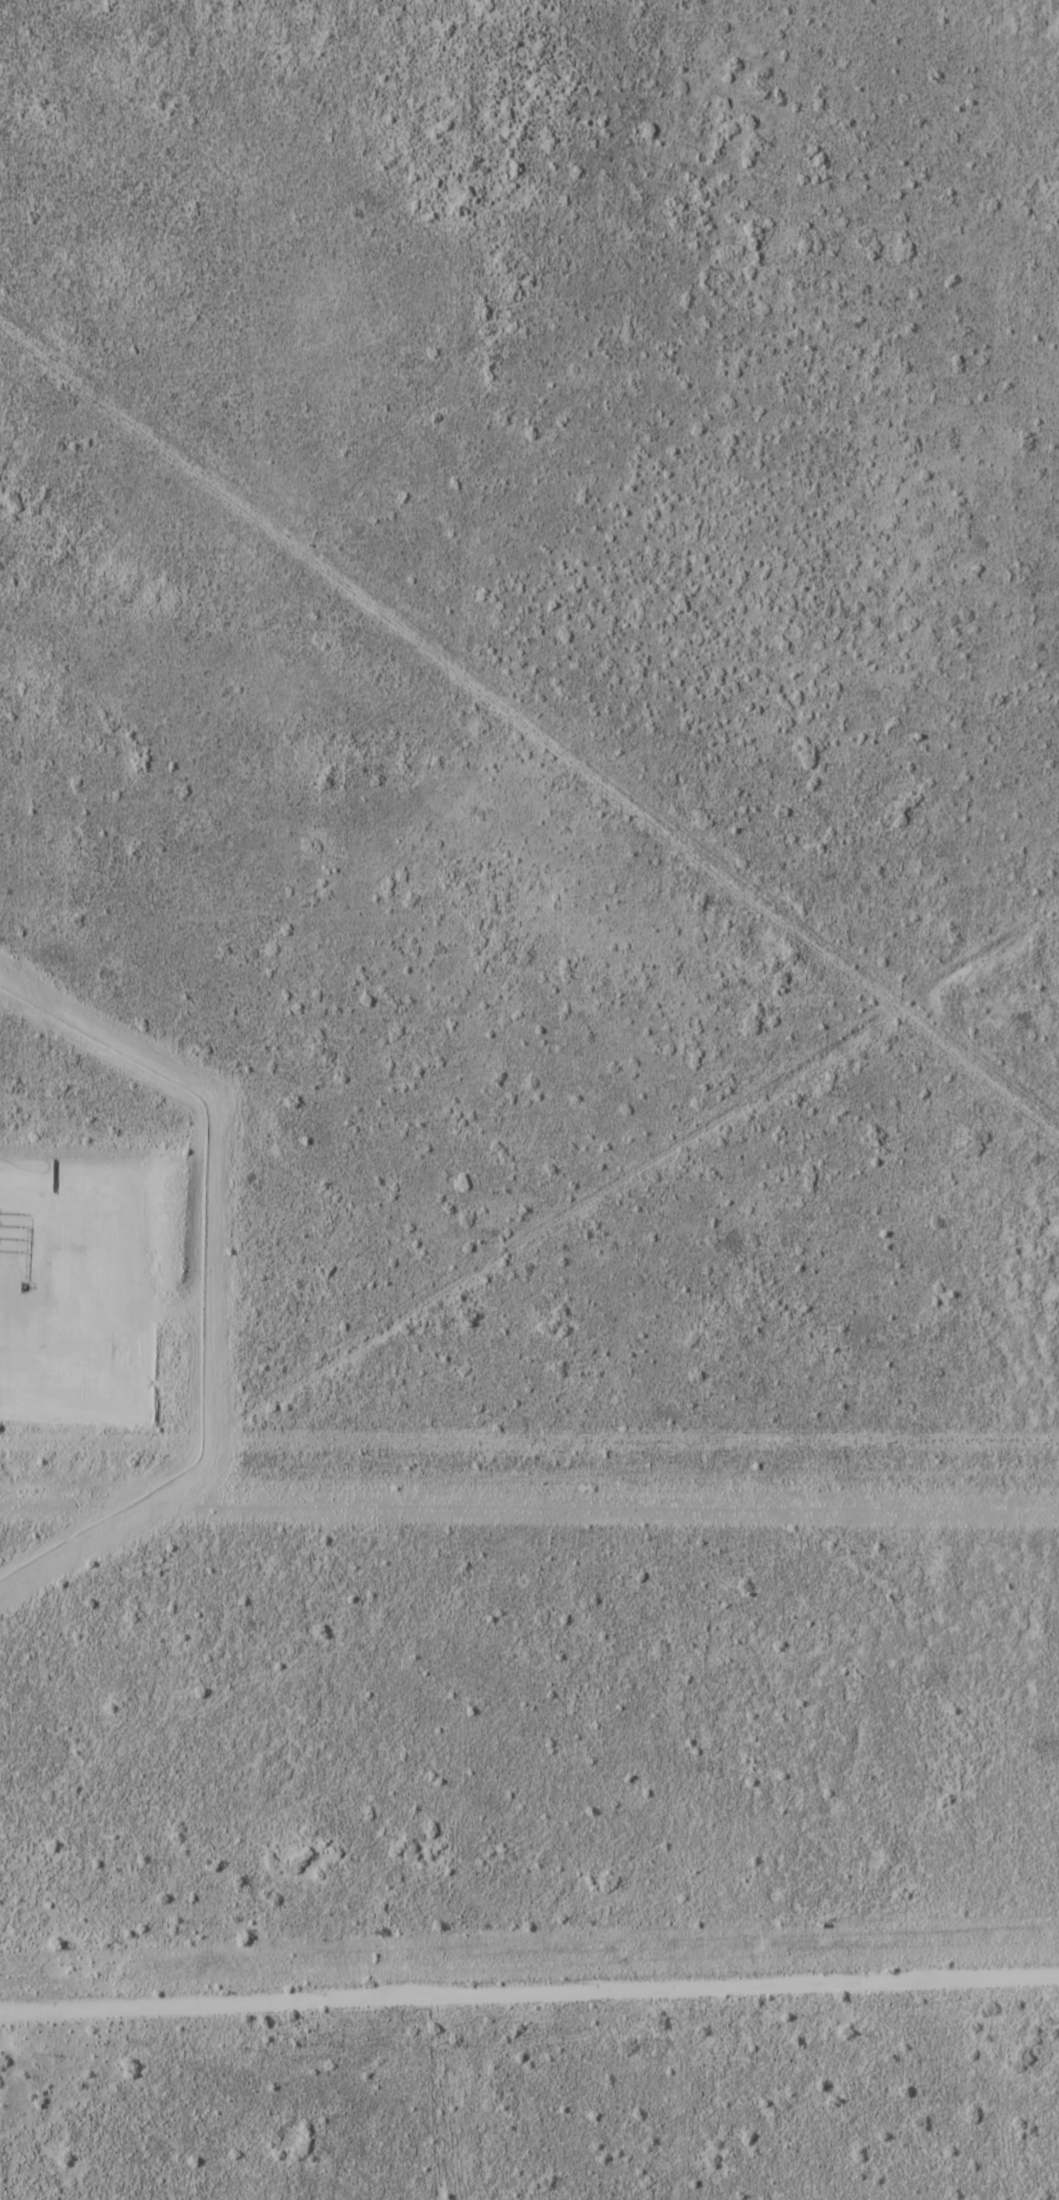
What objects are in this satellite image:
road: (31, 1377)
road: (529, 1991)

